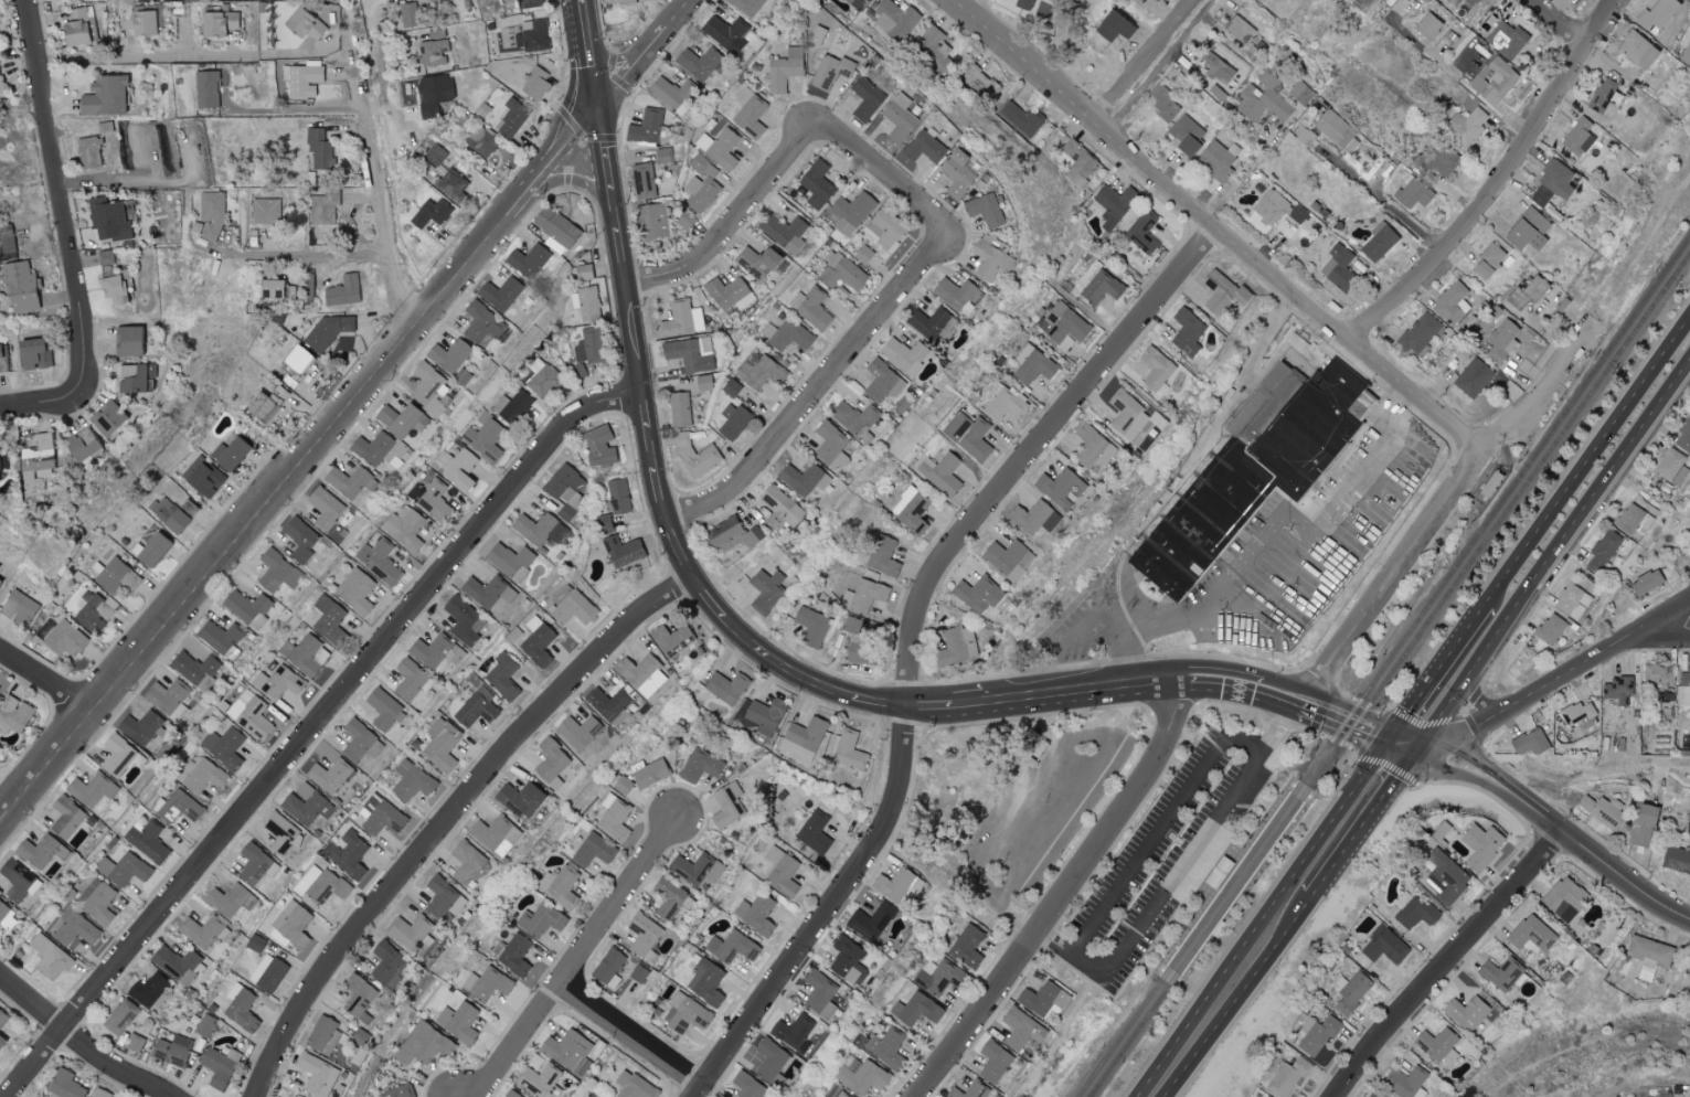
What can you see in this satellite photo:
building: (624, 1)
building: (1450, 1)
building: (528, 3)
building: (854, 3)
building: (1022, 3)
building: (1362, 3)
building: (750, 6)
building: (407, 13)
road: (984, 13)
building: (1657, 13)
building: (895, 20)
building: (139, 22)
building: (219, 23)
road: (1562, 23)
building: (302, 24)
building: (76, 25)
building: (1427, 25)
building: (1114, 26)
building: (1237, 29)
building: (725, 32)
building: (531, 35)
building: (1506, 40)
building: (1637, 50)
building: (934, 51)
building: (433, 52)
road: (591, 54)
road: (646, 54)
building: (1686, 55)
road: (148, 58)
building: (698, 63)
road: (1147, 63)
building: (1215, 66)
building: (784, 68)
building: (830, 71)
building: (304, 79)
building: (1495, 81)
building: (1, 82)
building: (980, 82)
building: (534, 84)
building: (206, 89)
building: (1299, 92)
building: (666, 93)
building: (433, 94)
building: (104, 95)
building: (1602, 95)
building: (864, 98)
building: (1163, 103)
building: (1261, 103)
road: (297, 110)
building: (750, 113)
building: (897, 117)
building: (511, 118)
building: (1021, 118)
building: (1466, 124)
building: (646, 126)
building: (1337, 131)
building: (1186, 134)
building: (1577, 137)
building: (481, 140)
building: (719, 147)
building: (923, 147)
building: (318, 149)
road: (606, 149)
building: (88, 152)
building: (435, 153)
building: (663, 156)
building: (1218, 159)
road: (870, 160)
building: (1437, 160)
building: (1076, 162)
building: (704, 167)
building: (958, 173)
building: (642, 180)
road: (1239, 180)
building: (1551, 183)
building: (451, 184)
building: (817, 184)
road: (1502, 184)
building: (700, 193)
building: (1413, 193)
road: (381, 199)
road: (63, 200)
road: (1383, 203)
building: (1113, 204)
building: (323, 207)
building: (1277, 207)
road: (617, 209)
building: (986, 210)
building: (266, 211)
building: (850, 212)
building: (429, 213)
building: (210, 216)
building: (108, 219)
building: (685, 220)
building: (653, 221)
road: (732, 221)
building: (555, 226)
road: (1213, 226)
building: (883, 227)
building: (1285, 228)
building: (1528, 230)
building: (784, 232)
building: (1142, 232)
building: (1378, 242)
building: (8, 243)
road: (1639, 253)
road: (311, 254)
building: (863, 254)
road: (625, 256)
building: (991, 257)
building: (528, 260)
building: (1488, 260)
building: (756, 262)
building: (1338, 267)
building: (583, 271)
building: (841, 271)
building: (21, 287)
building: (1101, 287)
building: (276, 288)
building: (113, 289)
building: (342, 291)
building: (1221, 291)
building: (500, 292)
building: (1526, 292)
building: (729, 294)
building: (586, 303)
building: (1452, 303)
building: (811, 307)
building: (682, 319)
building: (481, 322)
building: (931, 323)
building: (1063, 326)
building: (328, 330)
building: (1187, 332)
building: (1418, 332)
building: (787, 334)
road: (637, 339)
building: (127, 341)
building: (1501, 341)
building: (588, 347)
building: (690, 353)
building: (32, 355)
building: (448, 355)
building: (903, 355)
building: (3, 359)
building: (297, 360)
building: (1032, 364)
building: (1156, 370)
building: (578, 371)
building: (759, 372)
road: (826, 375)
building: (137, 377)
building: (542, 377)
building: (1473, 377)
building: (704, 382)
building: (882, 382)
building: (427, 388)
road: (1533, 391)
building: (1263, 398)
building: (1001, 403)
road: (36, 405)
building: (262, 405)
building: (513, 406)
building: (679, 409)
road: (647, 411)
building: (384, 415)
building: (107, 417)
building: (1133, 417)
building: (854, 418)
building: (406, 420)
building: (732, 420)
building: (967, 435)
building: (485, 436)
building: (1683, 437)
building: (83, 444)
building: (598, 446)
building: (830, 446)
road: (653, 447)
building: (1093, 448)
building: (379, 449)
building: (227, 452)
building: (694, 455)
road: (1194, 458)
building: (39, 459)
road: (1587, 460)
building: (0, 464)
road: (297, 464)
building: (1671, 466)
building: (457, 467)
building: (940, 472)
building: (201, 477)
building: (804, 479)
building: (1251, 479)
building: (349, 481)
building: (1061, 487)
building: (565, 490)
building: (416, 492)
road: (662, 494)
building: (617, 496)
building: (435, 501)
building: (325, 508)
building: (780, 508)
building: (911, 510)
road: (1285, 511)
building: (170, 513)
building: (1029, 516)
building: (1628, 519)
building: (1052, 521)
building: (602, 523)
building: (404, 528)
building: (539, 530)
building: (722, 532)
building: (299, 539)
building: (1689, 541)
road: (1555, 546)
building: (151, 550)
building: (621, 551)
road: (677, 551)
building: (1602, 551)
building: (883, 556)
building: (508, 558)
building: (1010, 560)
building: (379, 561)
building: (276, 572)
road: (1394, 573)
building: (115, 576)
building: (0, 581)
building: (1645, 583)
building: (483, 590)
building: (766, 590)
building: (355, 592)
building: (863, 595)
building: (975, 595)
road: (710, 596)
building: (1572, 601)
building: (571, 606)
building: (19, 608)
building: (247, 608)
building: (92, 611)
building: (329, 620)
building: (464, 620)
building: (811, 626)
building: (1550, 629)
road: (1662, 631)
building: (219, 636)
road: (1087, 636)
building: (62, 638)
road: (910, 640)
building: (671, 641)
building: (536, 642)
building: (957, 646)
building: (305, 654)
building: (437, 654)
road: (1124, 654)
road: (1438, 663)
road: (783, 664)
railway: (1383, 665)
building: (192, 667)
road: (1201, 669)
building: (640, 674)
railway: (1389, 674)
building: (1658, 674)
building: (503, 675)
road: (1558, 675)
building: (408, 679)
road: (1148, 680)
road: (44, 682)
building: (278, 682)
road: (1180, 683)
building: (725, 686)
building: (1683, 688)
building: (1618, 691)
road: (1056, 692)
road: (1314, 695)
road: (1250, 696)
building: (168, 697)
road: (880, 701)
building: (607, 703)
road: (967, 705)
building: (382, 707)
road: (927, 707)
building: (476, 709)
building: (1577, 714)
building: (14, 715)
building: (252, 715)
building: (765, 715)
building: (140, 726)
road: (312, 726)
road: (1341, 726)
road: (1405, 726)
building: (577, 732)
road: (1383, 733)
building: (804, 738)
road: (1065, 738)
building: (357, 739)
building: (1529, 743)
building: (440, 745)
building: (225, 747)
building: (849, 750)
road: (1391, 750)
building: (117, 755)
road: (1473, 755)
building: (551, 763)
building: (700, 765)
building: (648, 773)
building: (201, 775)
building: (329, 775)
road: (1462, 775)
building: (412, 781)
building: (620, 784)
building: (91, 789)
road: (8, 795)
building: (520, 799)
building: (306, 805)
building: (726, 805)
building: (179, 807)
building: (1604, 810)
parking lot: (1045, 812)
road: (1368, 812)
road: (450, 816)
building: (614, 818)
building: (1641, 824)
building: (814, 832)
building: (281, 833)
building: (496, 834)
building: (148, 841)
building: (1480, 845)
building: (593, 850)
building: (36, 851)
parking lot: (1175, 851)
building: (350, 854)
road: (1599, 859)
building: (1676, 859)
building: (466, 863)
building: (255, 864)
building: (695, 869)
building: (124, 870)
building: (780, 872)
railway: (1227, 874)
building: (1444, 877)
building: (15, 880)
building: (560, 884)
building: (895, 885)
building: (325, 886)
railway: (1246, 890)
road: (1057, 895)
building: (439, 896)
building: (668, 898)
building: (1564, 898)
building: (97, 901)
building: (230, 901)
building: (755, 914)
building: (1415, 914)
building: (7, 917)
building: (540, 920)
road: (1252, 920)
building: (870, 922)
building: (293, 925)
building: (75, 929)
building: (408, 930)
building: (202, 931)
building: (1531, 934)
building: (644, 936)
road: (1054, 938)
building: (424, 945)
building: (967, 946)
building: (731, 947)
building: (1385, 947)
building: (511, 954)
building: (1648, 956)
building: (50, 957)
building: (848, 960)
road: (576, 961)
road: (1444, 961)
building: (178, 965)
building: (389, 965)
building: (607, 966)
road: (1097, 967)
building: (1500, 974)
building: (272, 976)
building: (938, 977)
building: (1688, 979)
building: (705, 982)
building: (486, 983)
building: (149, 991)
building: (1350, 991)
building: (819, 994)
road: (1239, 994)
building: (358, 998)
building: (1042, 999)
building: (238, 1010)
building: (915, 1010)
building: (1466, 1012)
building: (684, 1014)
building: (120, 1018)
building: (2, 1019)
building: (458, 1022)
building: (204, 1025)
building: (793, 1030)
building: (1019, 1030)
road: (635, 1031)
building: (1317, 1034)
building: (322, 1035)
building: (0, 1041)
road: (83, 1041)
building: (135, 1043)
building: (424, 1044)
building: (1437, 1045)
building: (885, 1047)
building: (171, 1050)
building: (568, 1051)
building: (769, 1059)
building: (992, 1062)
building: (216, 1067)
building: (317, 1074)
building: (1287, 1076)
building: (541, 1080)
building: (1405, 1083)
building: (66, 1085)
building: (747, 1085)
building: (634, 1086)
building: (969, 1090)
building: (397, 1091)
building: (100, 1093)
building: (510, 1094)
building: (841, 1094)
building: (1370, 1095)
building: (1267, 1096)

